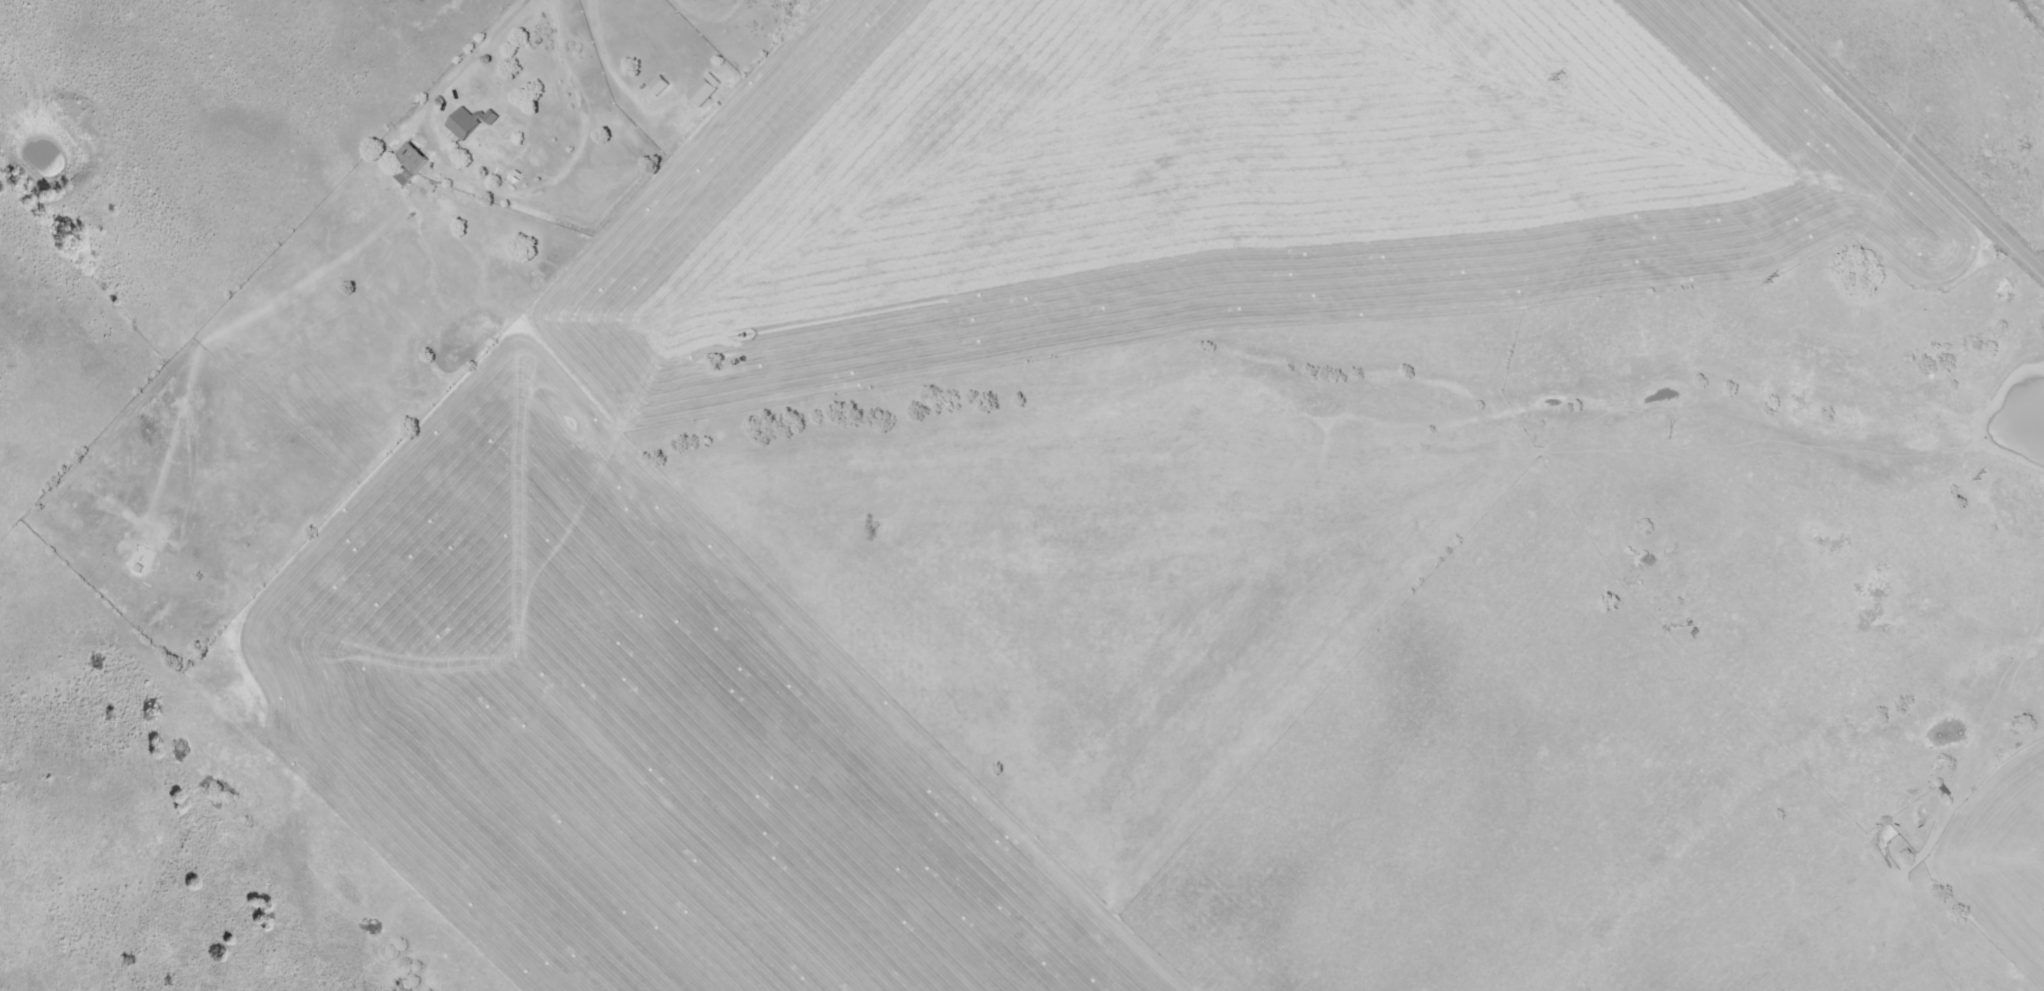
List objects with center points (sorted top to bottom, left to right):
road: (596, 34)
road: (475, 50)
road: (591, 51)
power tower: (1553, 72)
building: (663, 86)
building: (708, 90)
building: (472, 122)
road: (1910, 126)
building: (412, 165)
road: (556, 183)
power tower: (1769, 275)
power tower: (1978, 471)

